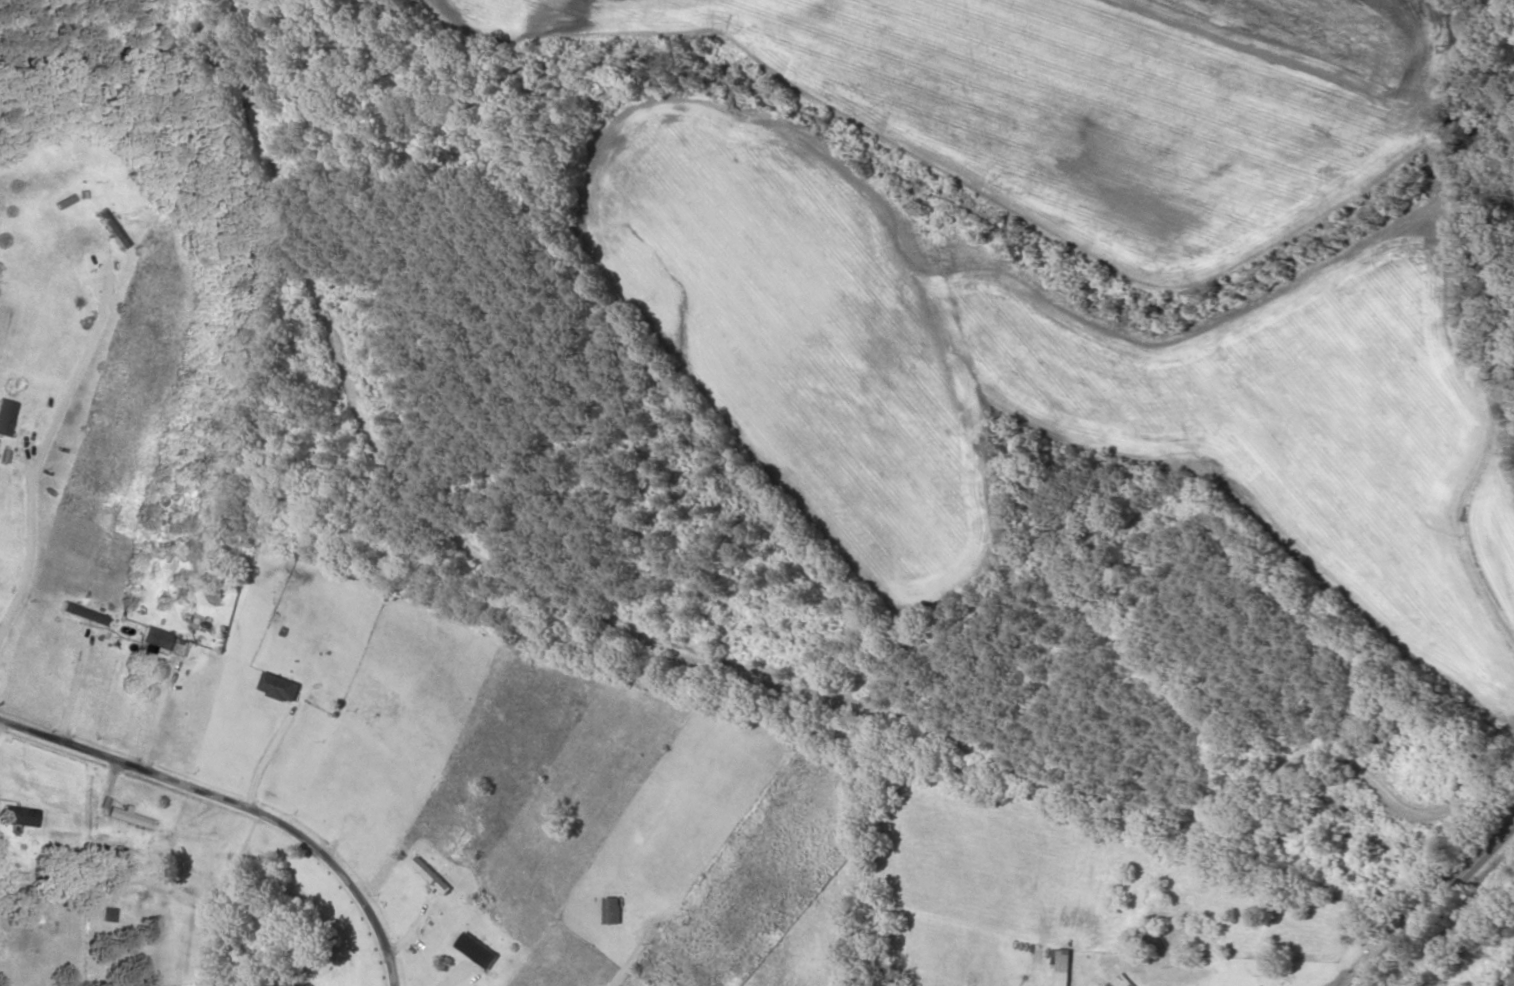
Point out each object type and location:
building: (114, 229)
road: (1504, 409)
building: (7, 417)
building: (85, 614)
building: (160, 641)
building: (282, 688)
building: (20, 817)
building: (132, 820)
building: (435, 877)
road: (1435, 905)
building: (616, 912)
building: (480, 952)
building: (1066, 967)
building: (1125, 981)

